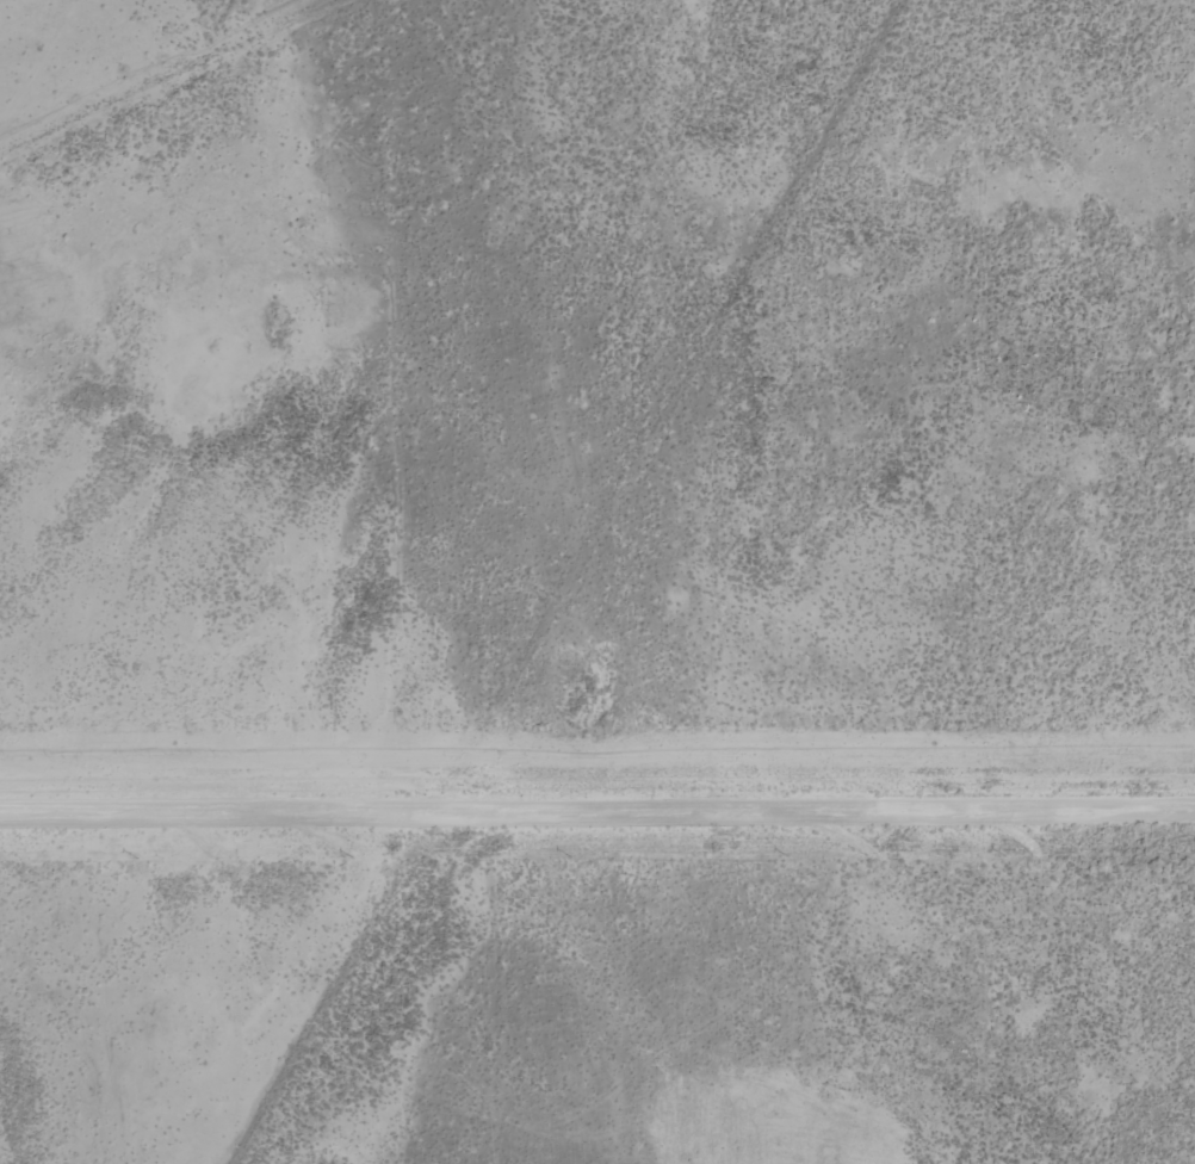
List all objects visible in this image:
road: (562, 576)
road: (596, 810)

